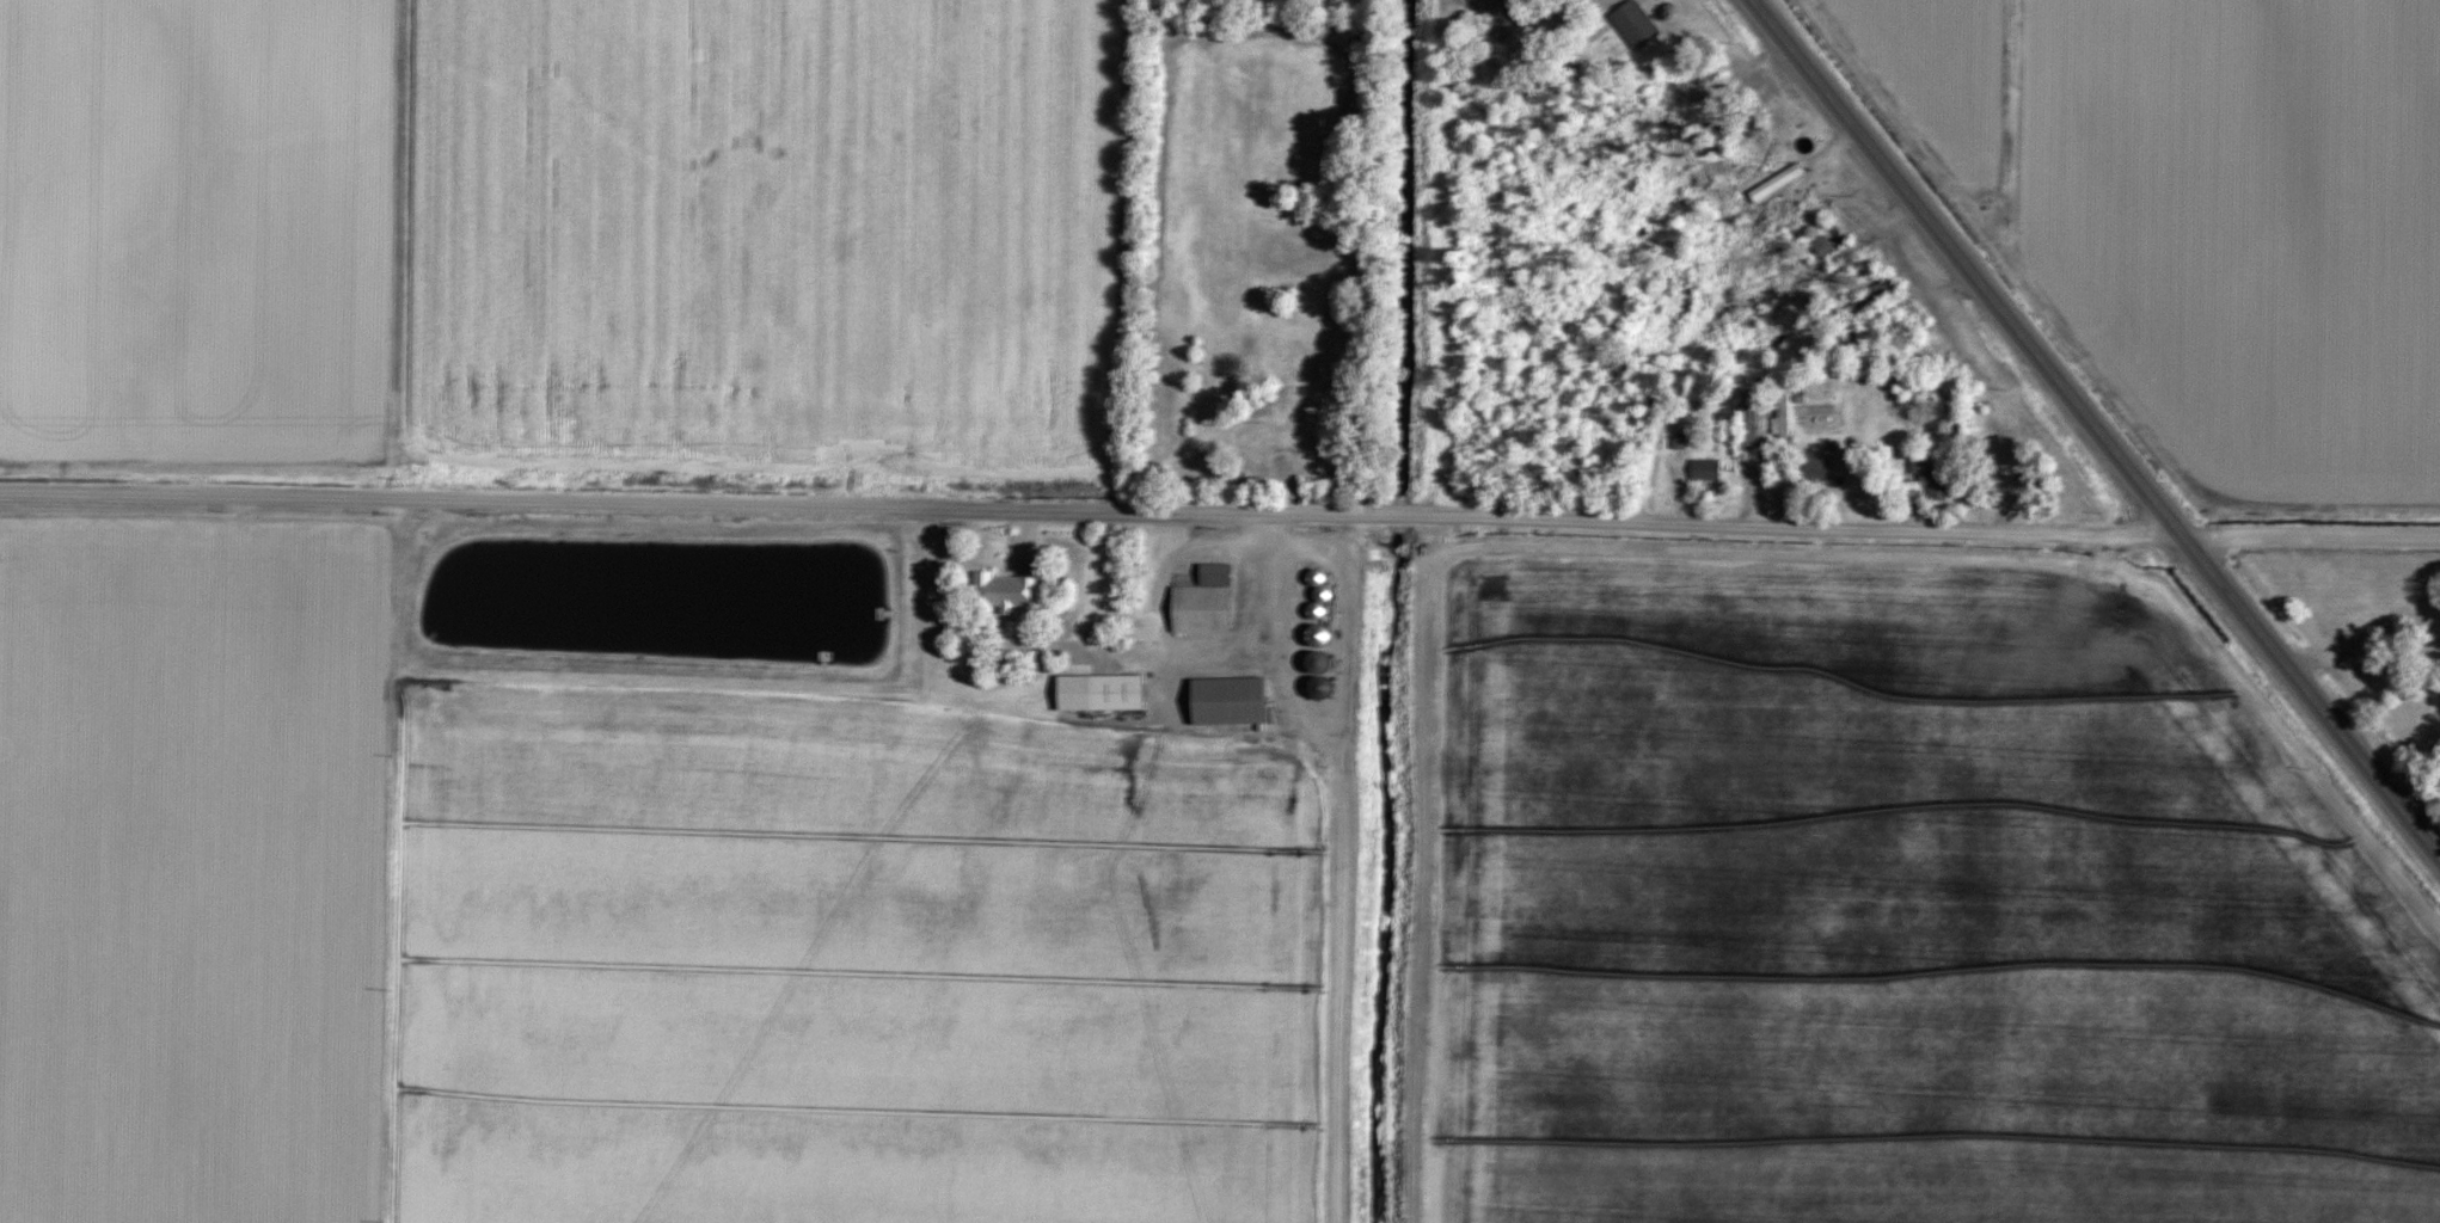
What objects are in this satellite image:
building: (1514, 11)
building: (1635, 24)
building: (1822, 244)
building: (1869, 299)
building: (1286, 357)
building: (1903, 379)
building: (1780, 414)
building: (1745, 418)
road: (2098, 426)
building: (1258, 440)
building: (1814, 466)
building: (1703, 469)
building: (1926, 481)
road: (1091, 511)
road: (2311, 533)
building: (1317, 577)
building: (1001, 591)
building: (1203, 601)
building: (1319, 634)
building: (1322, 683)
building: (1099, 692)
building: (1228, 700)
road: (1345, 856)

